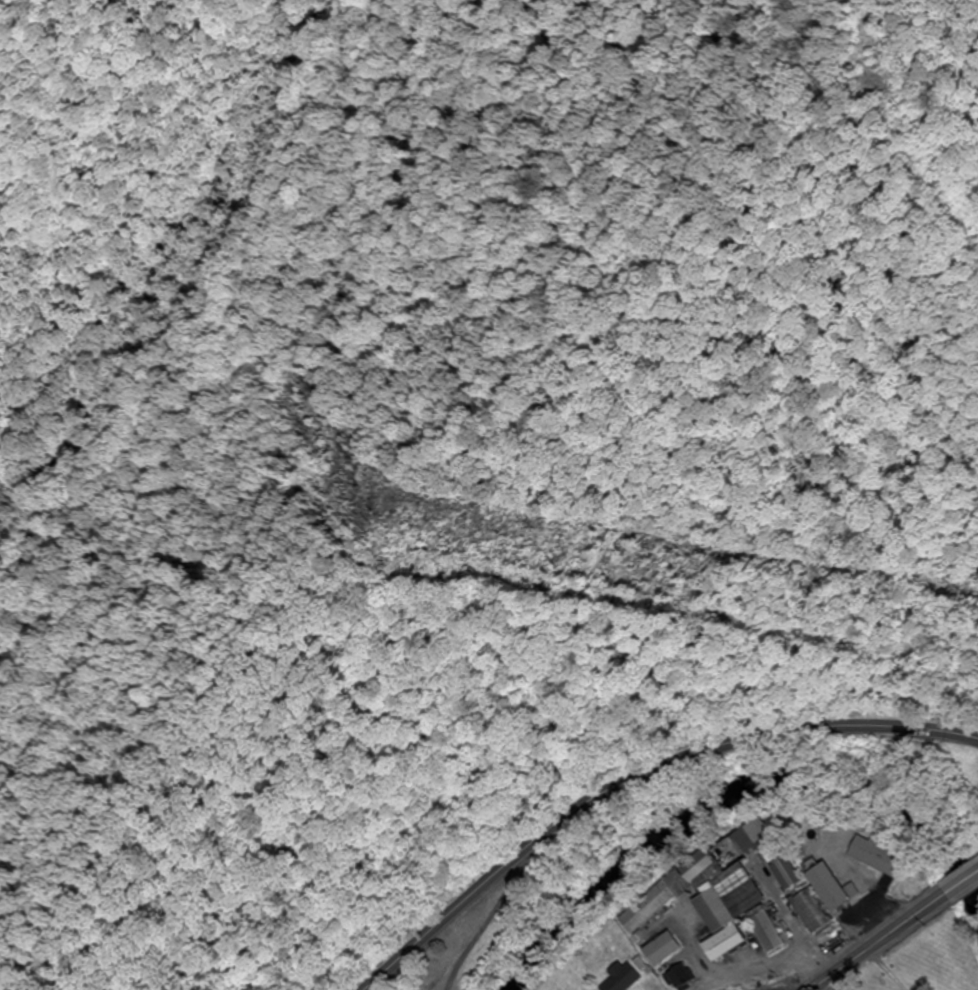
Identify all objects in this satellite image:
road: (633, 772)
river: (729, 791)
building: (882, 855)
building: (705, 871)
building: (790, 874)
building: (842, 881)
road: (962, 883)
road: (492, 908)
building: (814, 911)
building: (734, 912)
building: (769, 932)
road: (878, 942)
building: (670, 949)
road: (768, 970)
building: (685, 977)
building: (627, 978)

